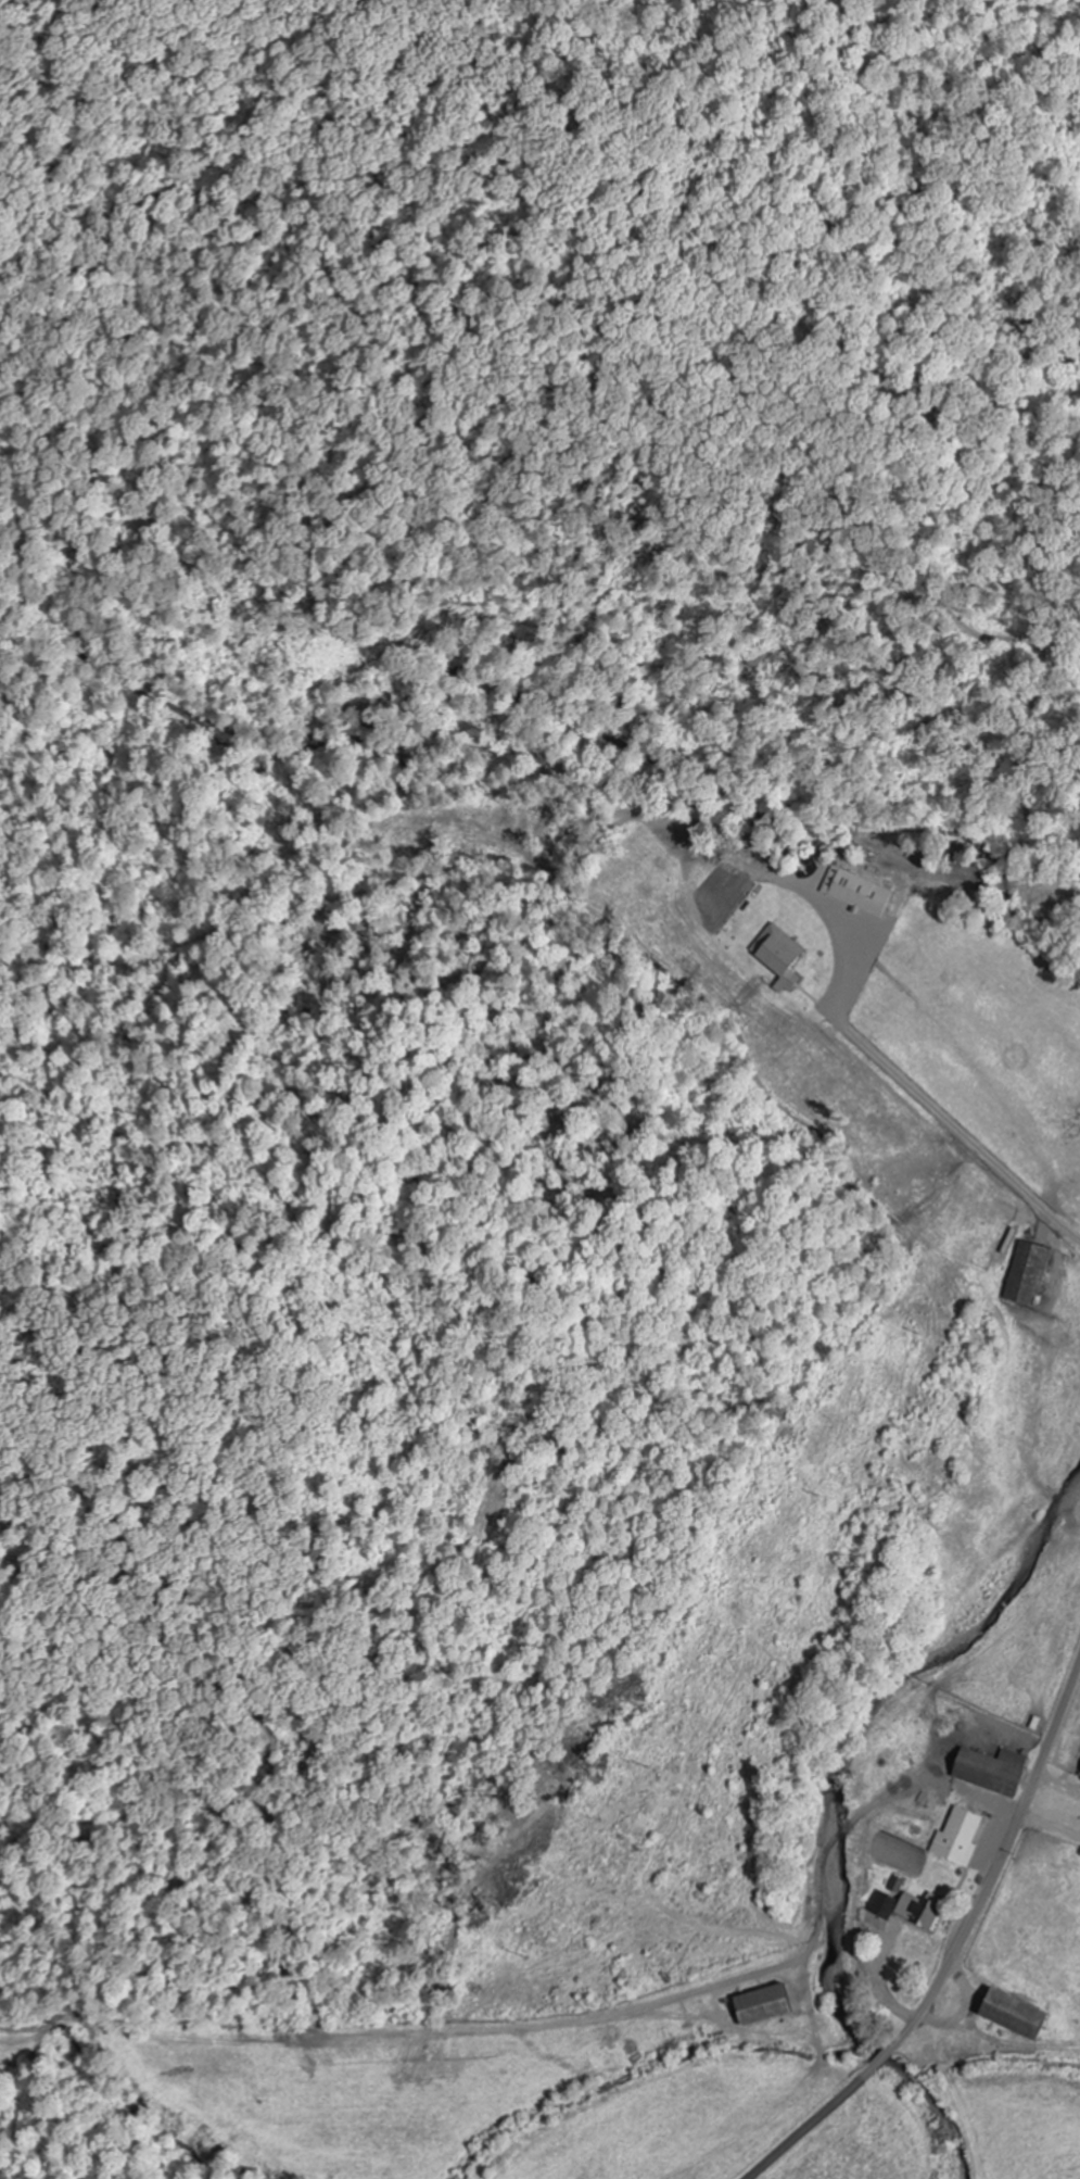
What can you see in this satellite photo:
building: (775, 950)
building: (1026, 1274)
building: (988, 1769)
building: (957, 1836)
building: (902, 1904)
road: (957, 1948)
building: (759, 2004)
building: (1007, 2013)

